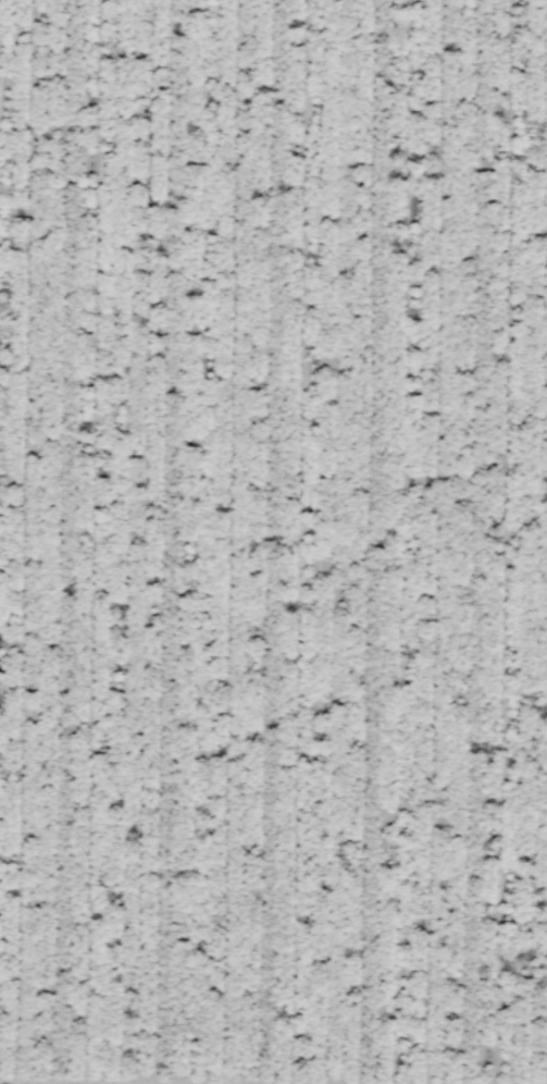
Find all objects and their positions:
road: (120, 1081)

